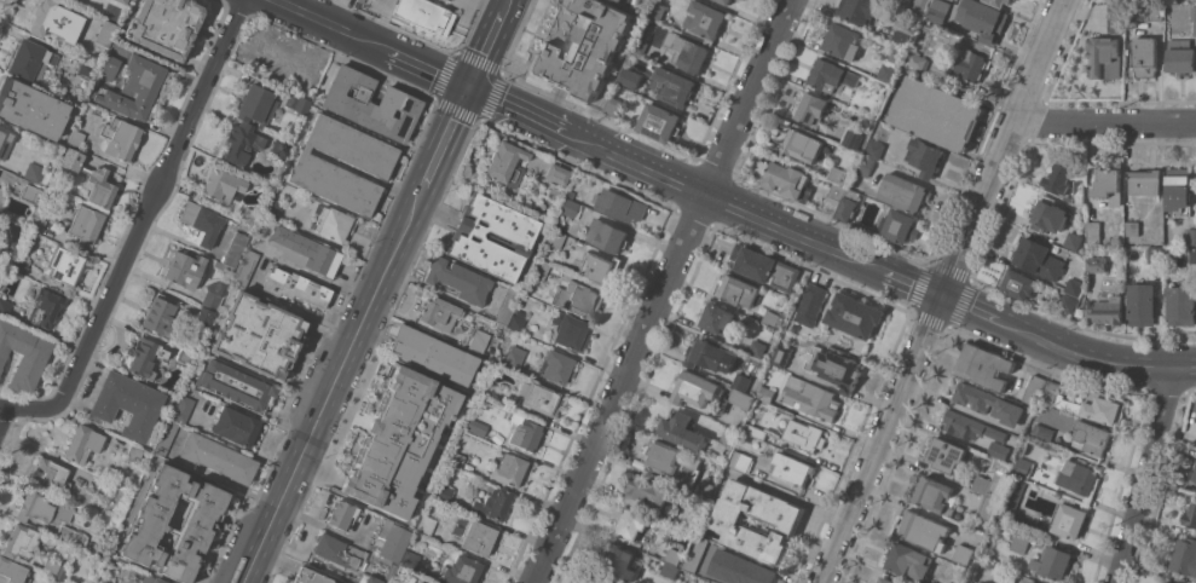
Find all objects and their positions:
building: (73, 0)
building: (376, 0)
building: (447, 0)
building: (449, 0)
building: (620, 0)
building: (122, 1)
road: (512, 1)
building: (724, 1)
building: (645, 2)
building: (998, 2)
building: (918, 6)
building: (657, 10)
building: (860, 10)
building: (934, 10)
building: (1150, 10)
building: (424, 15)
building: (1116, 16)
building: (1194, 18)
building: (980, 19)
building: (56, 21)
building: (705, 21)
building: (166, 25)
building: (928, 27)
building: (106, 33)
building: (902, 36)
building: (843, 40)
road: (376, 46)
building: (640, 46)
road: (492, 47)
building: (585, 50)
building: (687, 52)
building: (895, 56)
building: (1145, 56)
building: (1180, 56)
building: (1104, 57)
building: (29, 58)
building: (972, 59)
building: (915, 60)
building: (109, 67)
building: (87, 68)
building: (888, 73)
building: (832, 76)
building: (631, 77)
building: (672, 86)
building: (135, 88)
traffic signals: (473, 92)
building: (296, 102)
building: (371, 104)
building: (256, 105)
building: (614, 106)
building: (31, 108)
building: (813, 109)
building: (936, 114)
building: (661, 123)
road: (1105, 123)
building: (120, 137)
building: (76, 138)
building: (853, 139)
building: (5, 140)
building: (241, 140)
road: (450, 143)
building: (803, 145)
building: (281, 148)
building: (874, 149)
building: (925, 156)
building: (505, 163)
building: (314, 164)
building: (865, 166)
building: (33, 172)
building: (557, 173)
building: (837, 174)
building: (91, 177)
building: (1063, 178)
building: (788, 180)
building: (1146, 181)
building: (223, 185)
building: (1109, 185)
building: (1079, 191)
building: (1178, 191)
building: (30, 192)
building: (905, 192)
building: (570, 194)
building: (834, 198)
building: (620, 204)
building: (848, 204)
building: (271, 207)
building: (571, 208)
building: (888, 208)
road: (146, 212)
building: (249, 213)
building: (1048, 215)
building: (201, 221)
building: (37, 224)
building: (86, 224)
building: (334, 224)
building: (900, 226)
building: (1132, 229)
building: (1093, 231)
building: (10, 235)
building: (608, 235)
building: (1190, 235)
building: (492, 237)
building: (555, 238)
building: (1073, 241)
building: (236, 249)
road: (828, 249)
building: (305, 250)
building: (1154, 254)
building: (1192, 254)
building: (1039, 259)
building: (19, 264)
building: (1096, 264)
building: (64, 265)
building: (221, 265)
building: (245, 267)
building: (600, 267)
building: (764, 267)
building: (0, 269)
building: (185, 269)
building: (539, 270)
building: (458, 279)
building: (1017, 283)
building: (1075, 283)
building: (297, 288)
road: (660, 290)
building: (739, 290)
road: (943, 290)
building: (213, 295)
building: (578, 299)
building: (1068, 302)
building: (1183, 302)
building: (1142, 304)
building: (505, 305)
building: (810, 305)
building: (4, 307)
building: (46, 307)
building: (1105, 308)
building: (439, 313)
building: (161, 316)
building: (204, 316)
building: (855, 316)
building: (769, 318)
building: (518, 319)
building: (718, 319)
building: (570, 331)
building: (259, 335)
building: (478, 340)
building: (757, 348)
building: (23, 353)
building: (433, 354)
building: (780, 354)
building: (185, 356)
building: (709, 356)
building: (143, 357)
building: (515, 358)
building: (556, 366)
building: (984, 366)
building: (836, 368)
building: (743, 380)
building: (410, 381)
building: (236, 386)
road: (336, 387)
building: (697, 388)
building: (487, 389)
building: (1034, 389)
building: (765, 393)
building: (1050, 393)
building: (537, 398)
building: (743, 398)
building: (811, 398)
building: (988, 403)
building: (128, 404)
building: (183, 408)
building: (1105, 408)
road: (1, 411)
road: (18, 411)
building: (395, 415)
building: (456, 415)
building: (236, 426)
building: (475, 426)
building: (970, 427)
building: (682, 431)
building: (755, 431)
building: (1044, 431)
building: (524, 433)
building: (804, 435)
building: (166, 437)
building: (729, 437)
building: (1091, 438)
building: (757, 440)
building: (82, 444)
building: (376, 448)
building: (999, 450)
building: (440, 451)
building: (135, 452)
building: (946, 455)
building: (218, 457)
building: (456, 458)
building: (671, 458)
building: (1050, 458)
building: (740, 461)
building: (1023, 467)
building: (509, 469)
road: (1144, 473)
building: (53, 474)
building: (792, 474)
building: (1194, 474)
road: (224, 479)
building: (414, 479)
building: (1079, 479)
building: (98, 480)
building: (992, 481)
building: (364, 483)
building: (705, 489)
building: (444, 492)
building: (648, 493)
building: (935, 496)
building: (1010, 497)
building: (493, 502)
building: (418, 507)
building: (392, 508)
building: (987, 508)
building: (42, 509)
building: (341, 514)
building: (1190, 515)
building: (780, 516)
building: (428, 518)
building: (1069, 520)
building: (150, 524)
building: (632, 524)
building: (988, 529)
building: (924, 530)
building: (70, 535)
building: (478, 537)
building: (1019, 539)
building: (21, 541)
building: (395, 543)
building: (337, 550)
building: (694, 553)
building: (963, 554)
building: (674, 556)
building: (1185, 556)
building: (410, 560)
building: (908, 560)
building: (617, 562)
building: (1052, 562)
building: (54, 568)
building: (740, 568)
building: (463, 570)
building: (12, 571)
building: (670, 571)
building: (389, 572)
building: (311, 576)
building: (152, 579)
building: (605, 579)
building: (1024, 579)
building: (886, 581)
building: (876, 582)
building: (1167, 582)

